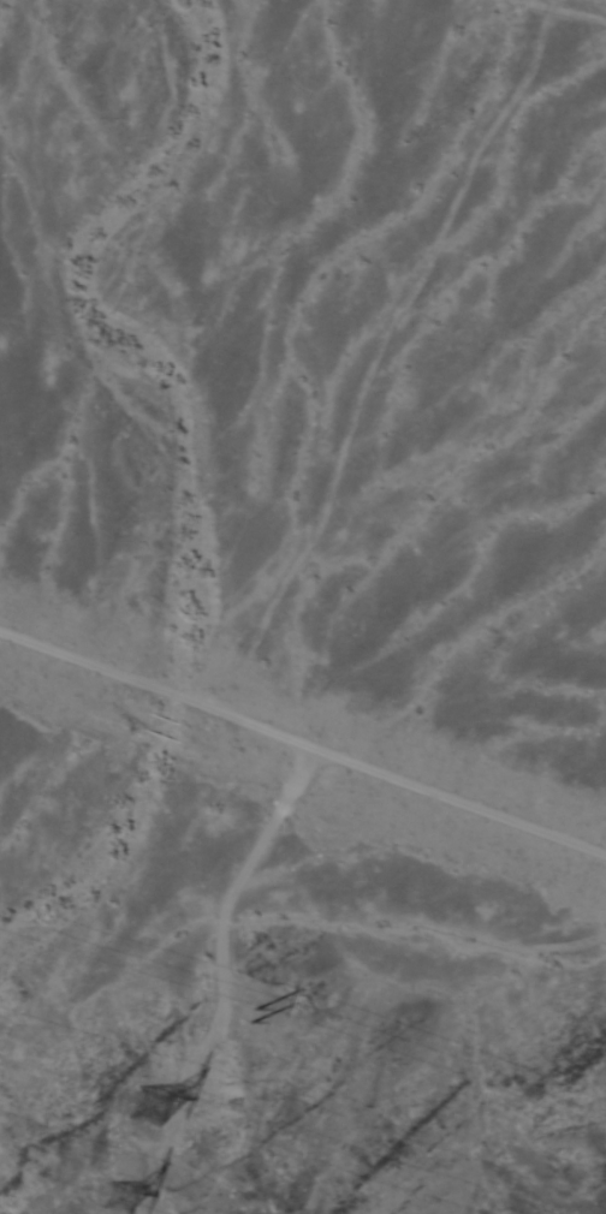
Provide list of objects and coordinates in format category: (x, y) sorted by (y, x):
road: (303, 740)
power tower: (242, 1017)
power tower: (137, 1111)
power tower: (99, 1188)

